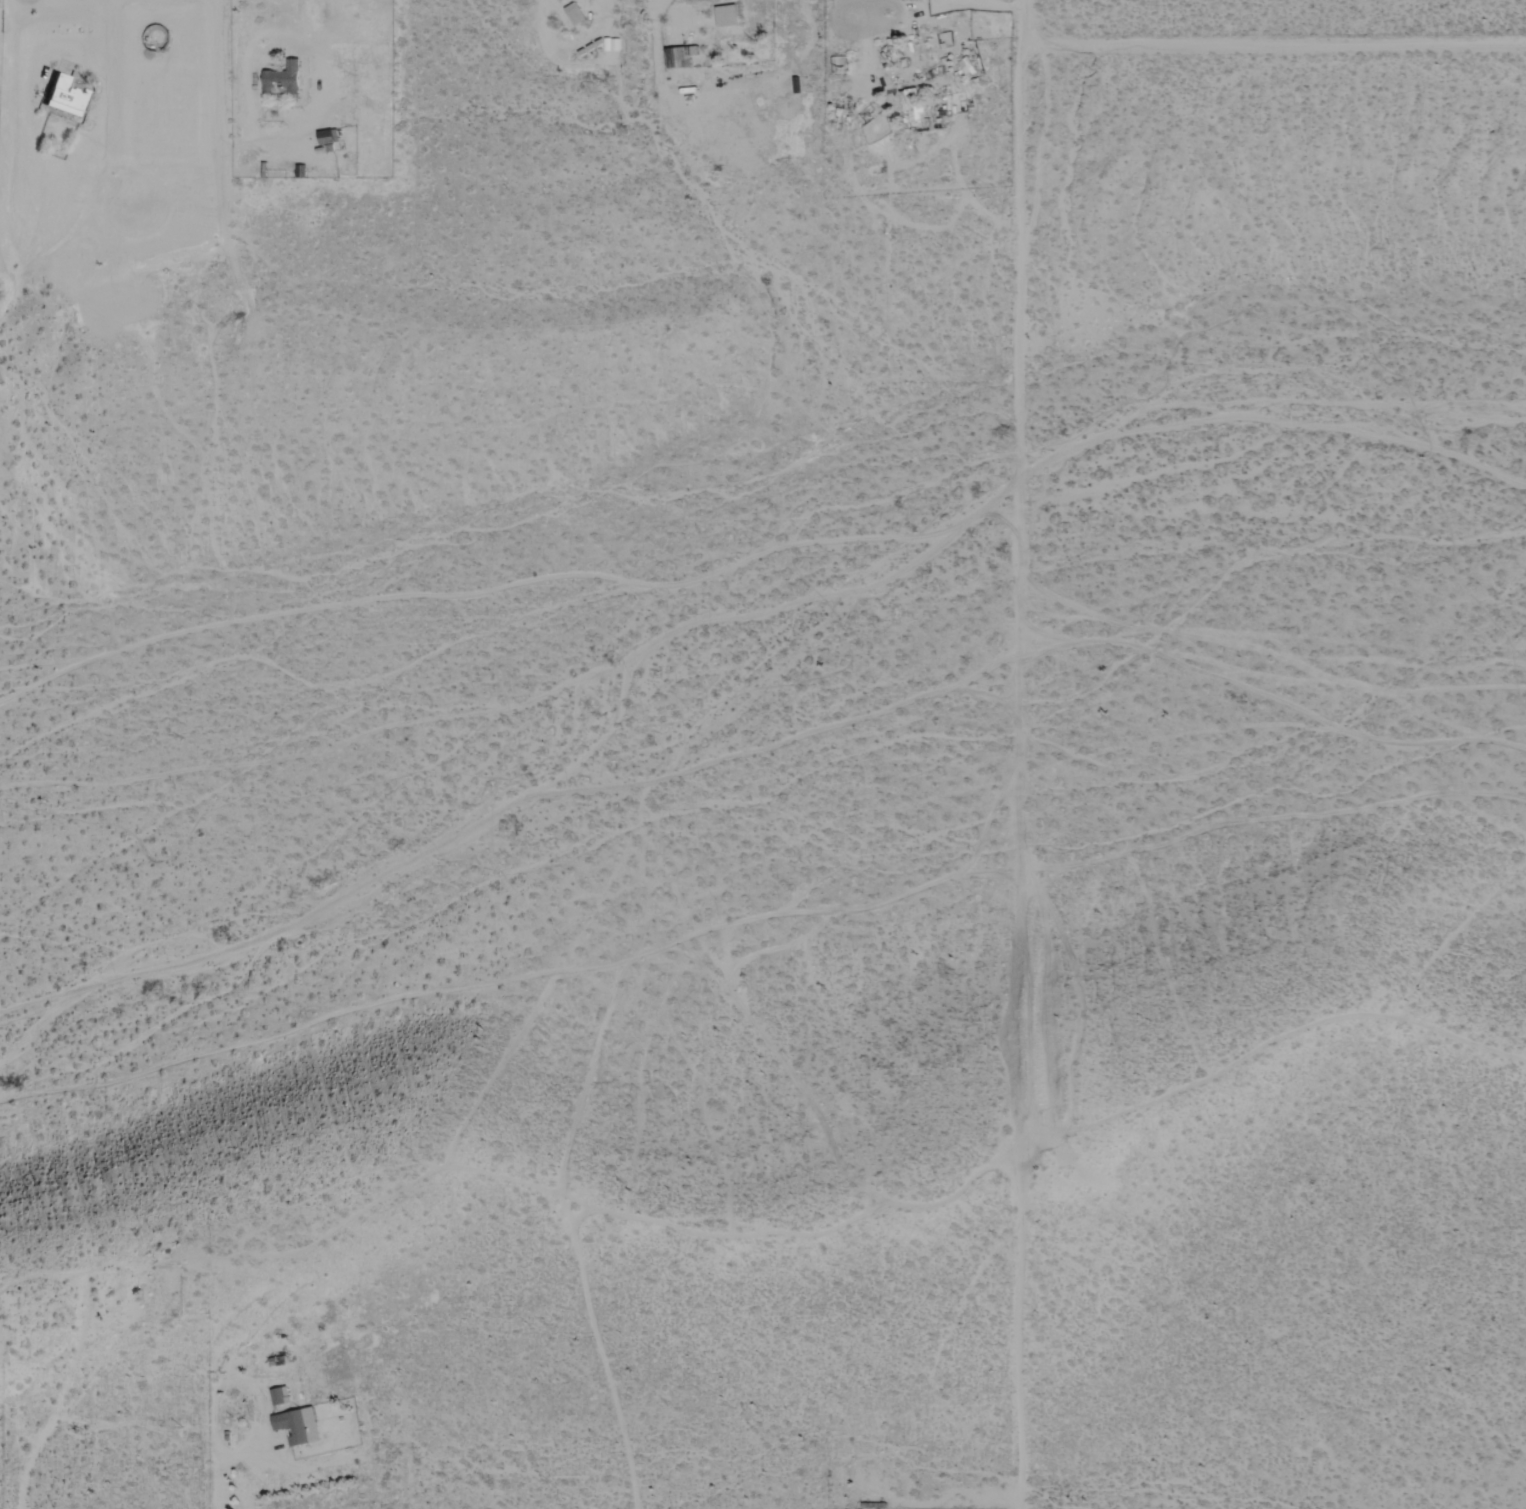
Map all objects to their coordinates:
building: (574, 13)
building: (726, 15)
road: (1022, 23)
building: (614, 45)
building: (690, 50)
building: (966, 66)
building: (282, 77)
building: (66, 96)
building: (911, 104)
road: (1021, 777)
building: (277, 1396)
building: (297, 1426)

